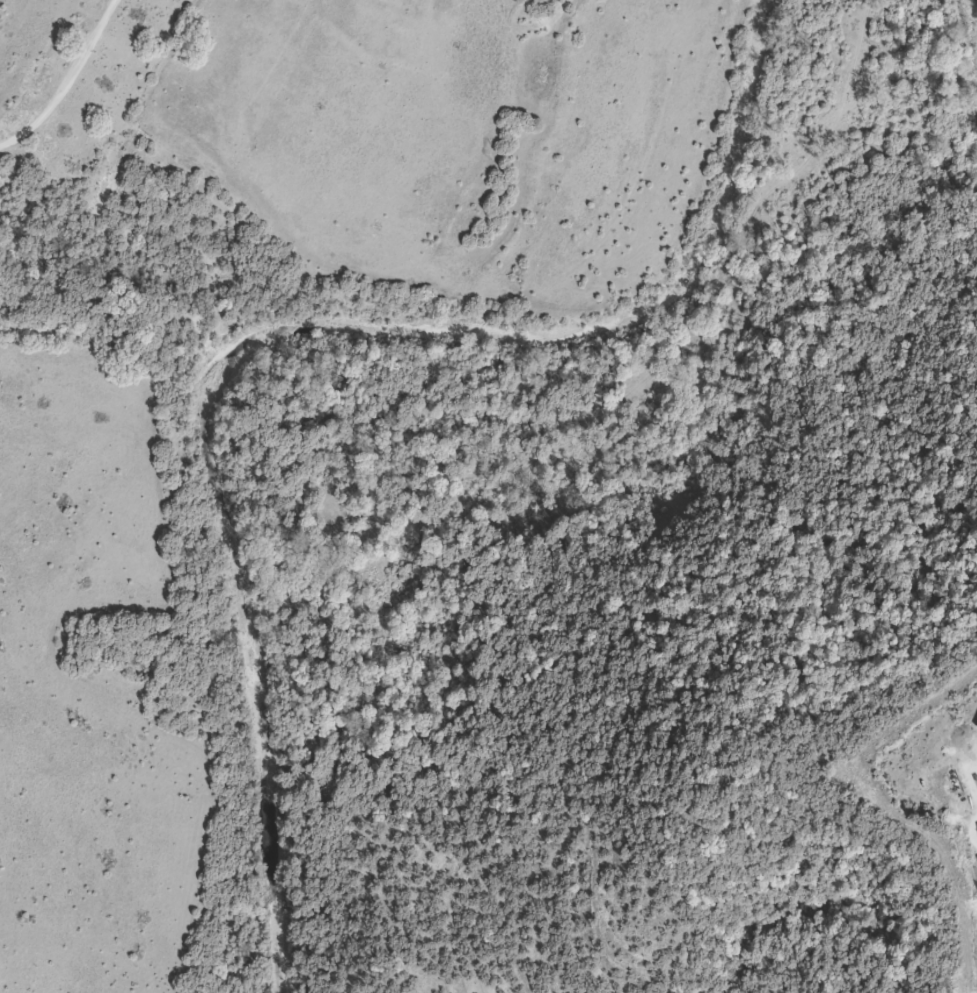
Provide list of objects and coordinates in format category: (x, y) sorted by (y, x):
quarry: (936, 789)
building: (976, 827)

